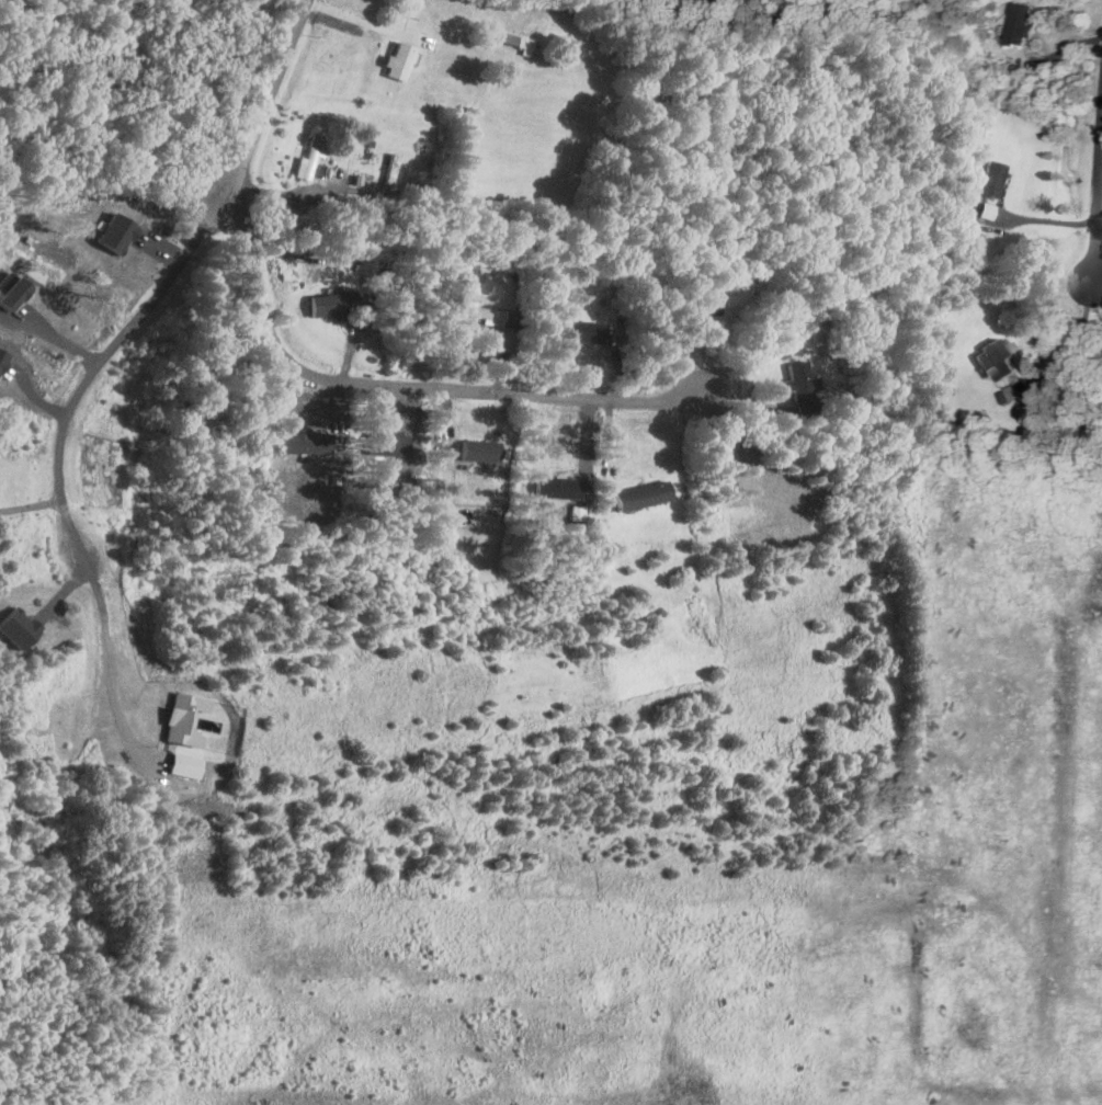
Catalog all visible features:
road: (354, 22)
building: (1018, 22)
building: (520, 42)
building: (402, 60)
building: (654, 76)
building: (670, 87)
road: (265, 105)
building: (370, 141)
building: (311, 160)
building: (391, 171)
building: (988, 178)
building: (359, 179)
building: (985, 209)
road: (1097, 215)
road: (1097, 297)
building: (332, 301)
building: (706, 306)
building: (470, 310)
building: (570, 330)
building: (713, 333)
road: (1078, 338)
building: (995, 357)
road: (94, 366)
building: (798, 379)
road: (394, 389)
building: (1013, 390)
building: (1003, 396)
building: (943, 412)
building: (957, 423)
building: (295, 442)
building: (479, 449)
building: (641, 495)
road: (30, 504)
road: (103, 663)
building: (179, 719)
building: (179, 764)

